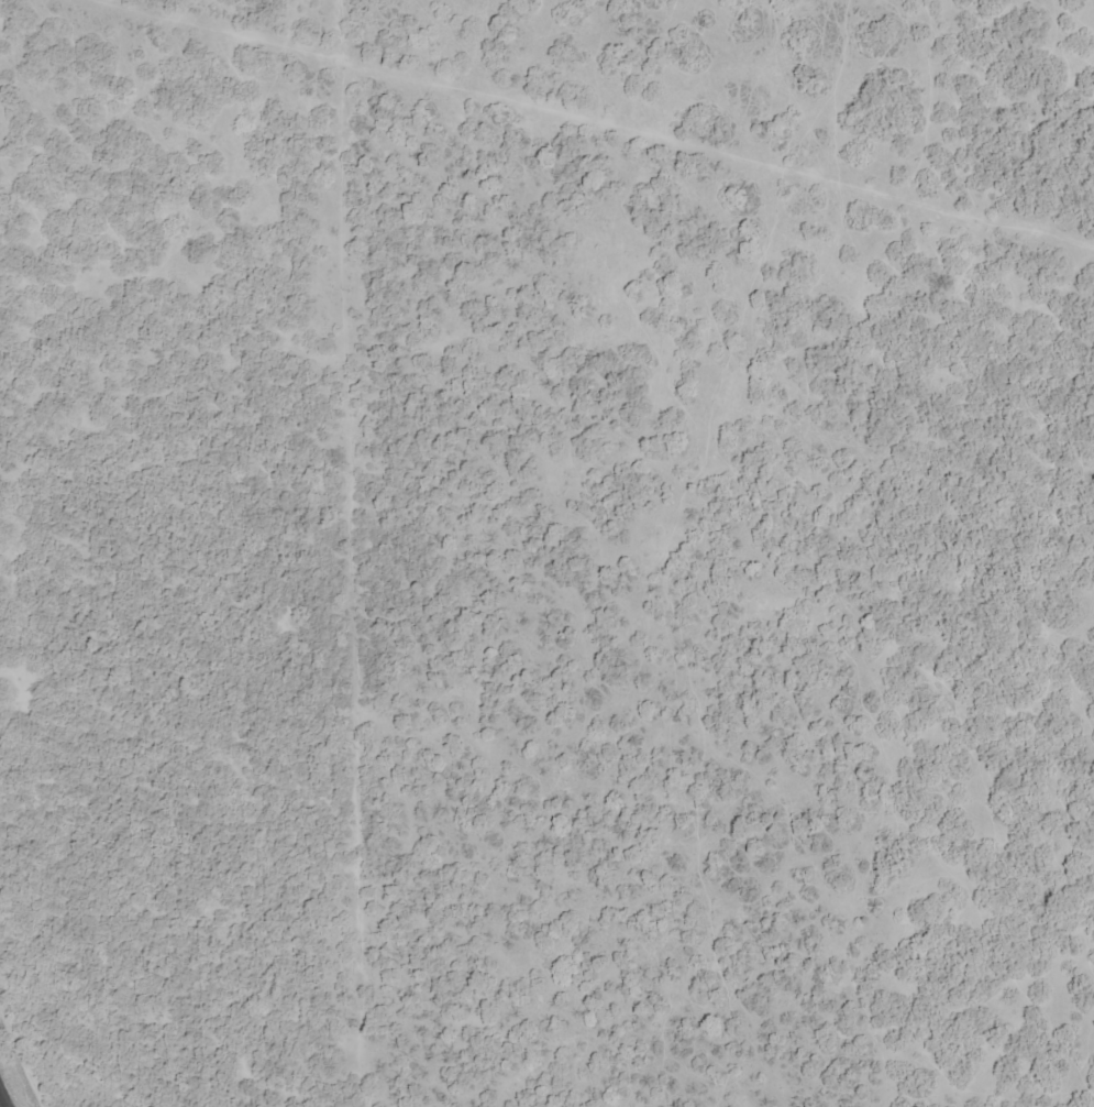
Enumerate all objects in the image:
railway: (2, 1103)

